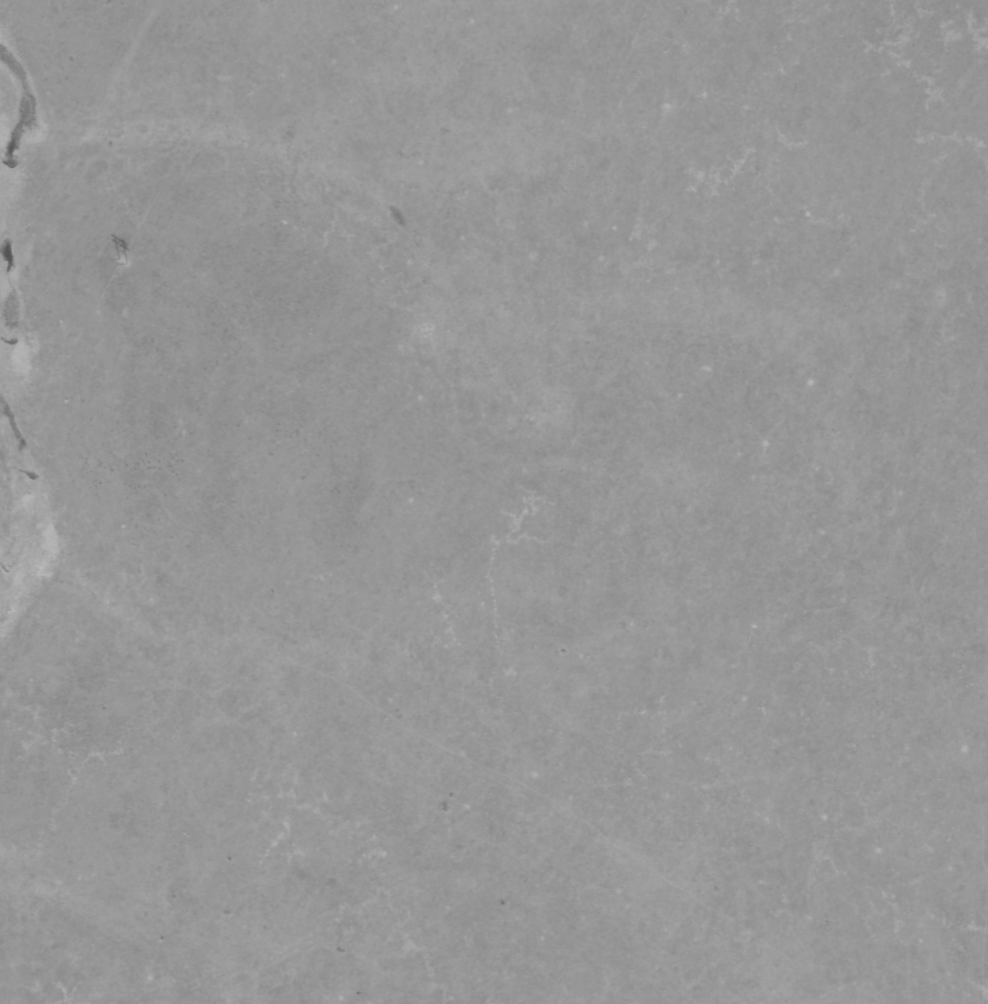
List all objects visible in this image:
power tower: (266, 0)
power tower: (122, 261)

